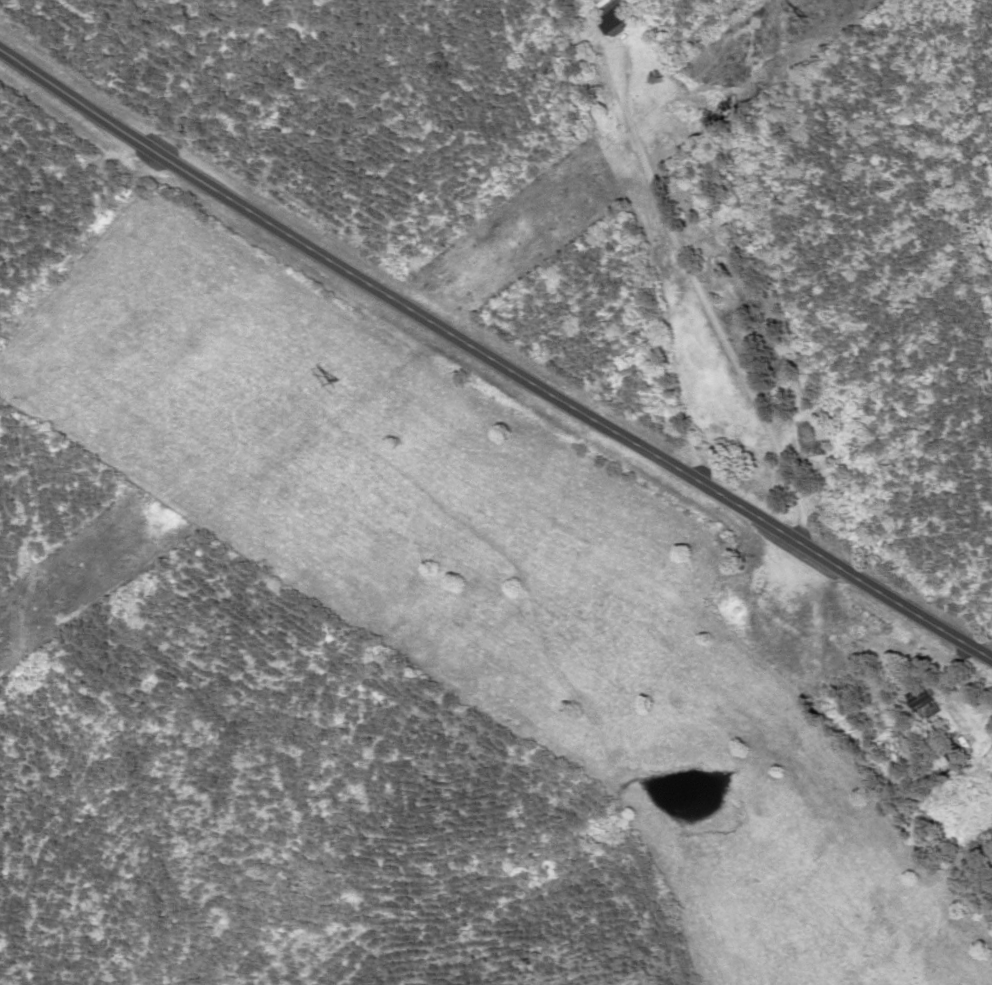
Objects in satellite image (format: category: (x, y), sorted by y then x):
power tower: (813, 16)
building: (620, 21)
road: (493, 361)
power tower: (337, 379)
building: (724, 415)
building: (796, 602)
building: (830, 658)
building: (931, 705)
building: (914, 739)

